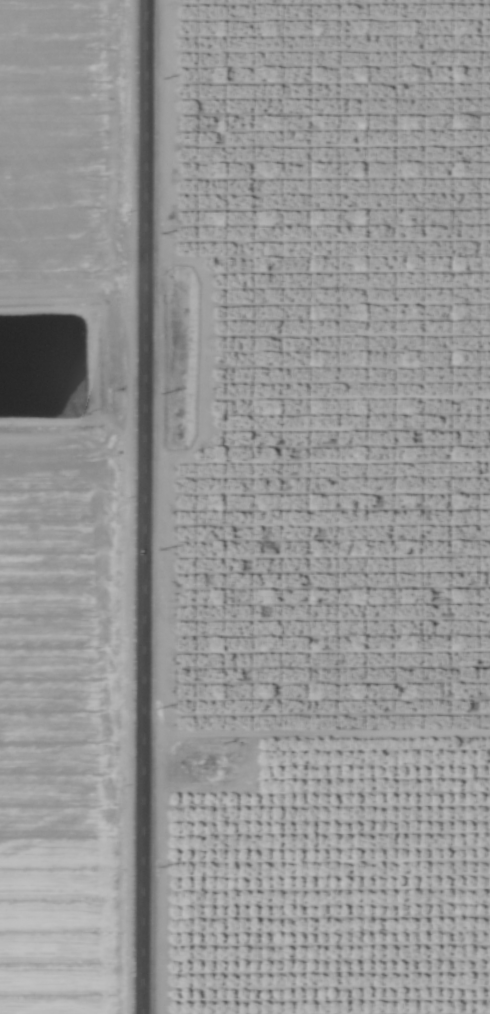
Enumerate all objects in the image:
road: (142, 507)
crop: (252, 512)

